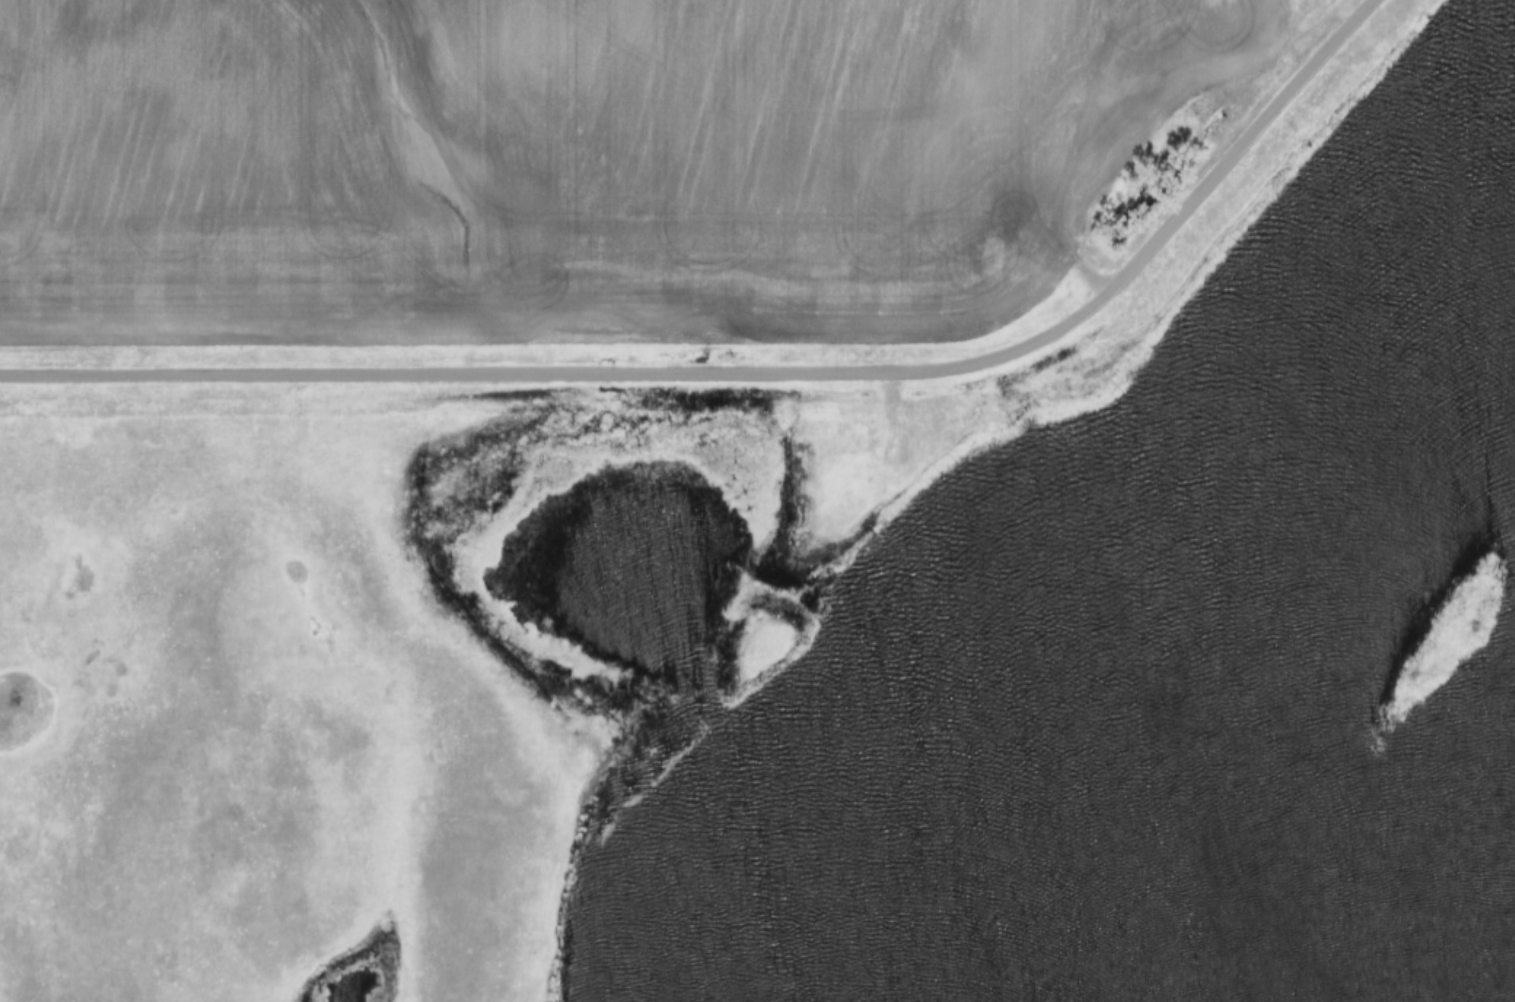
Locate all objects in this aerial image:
road: (770, 382)

